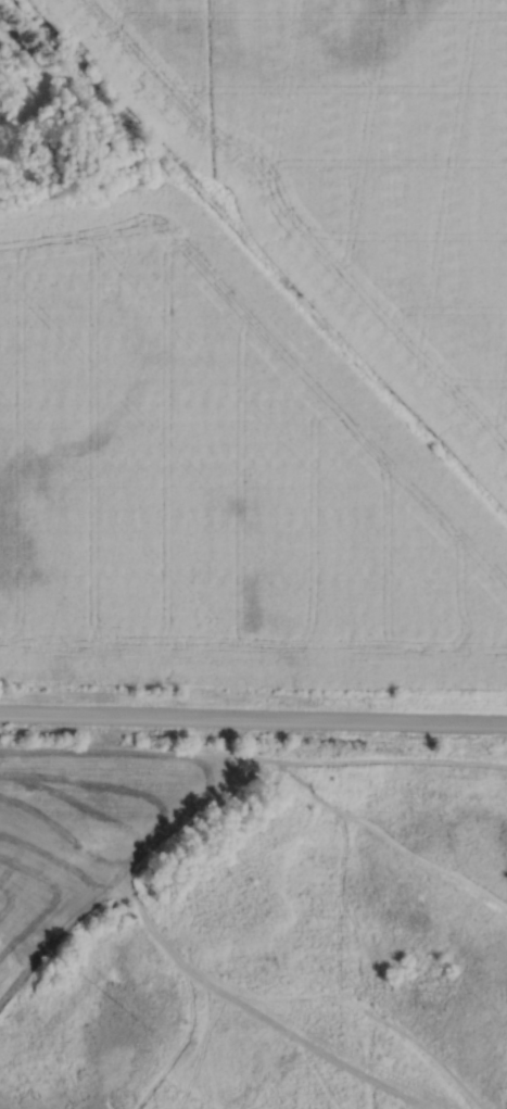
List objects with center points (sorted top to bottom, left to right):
road: (253, 718)

